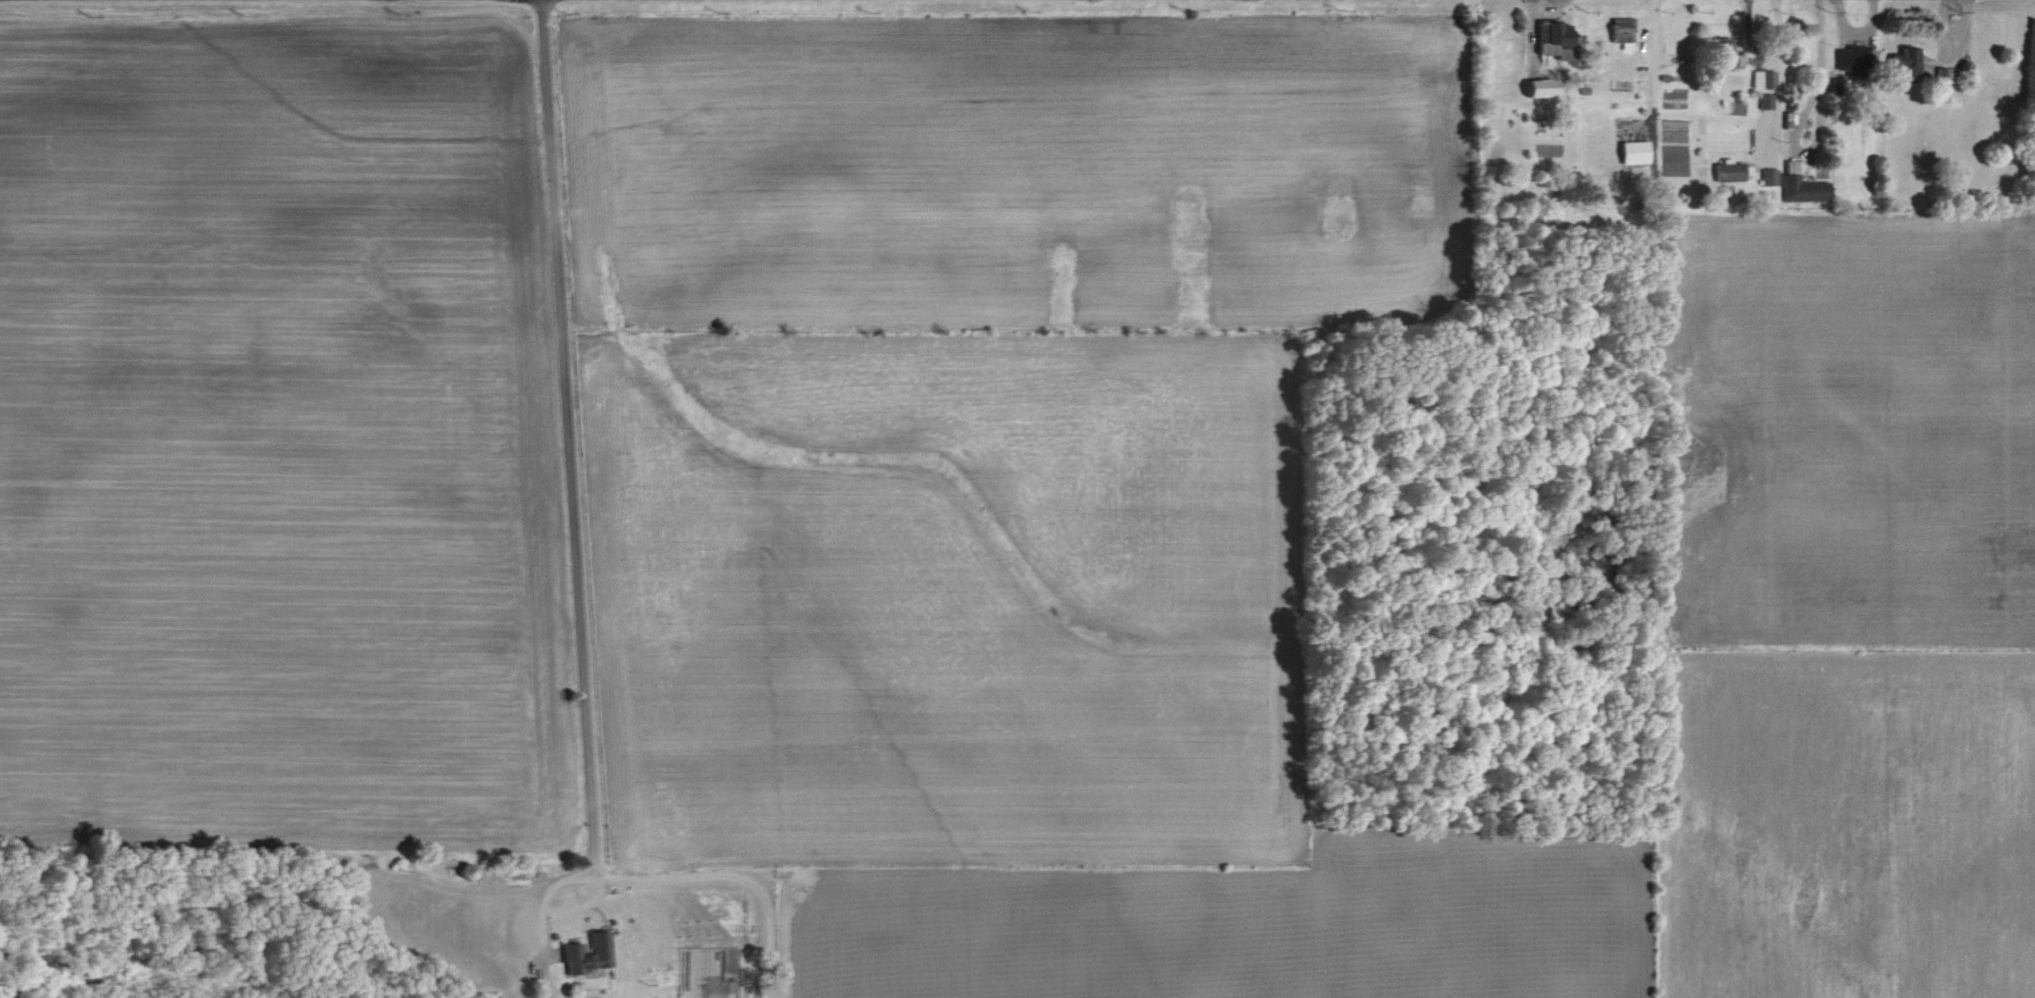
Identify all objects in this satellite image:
building: (1619, 31)
building: (1549, 40)
road: (1821, 43)
building: (1719, 52)
building: (1848, 59)
building: (1903, 61)
road: (1654, 62)
building: (1760, 79)
building: (1533, 87)
building: (1764, 100)
road: (1805, 149)
building: (1631, 151)
building: (1725, 171)
building: (1768, 177)
building: (1799, 186)
road: (572, 576)
road: (549, 906)
building: (582, 954)

